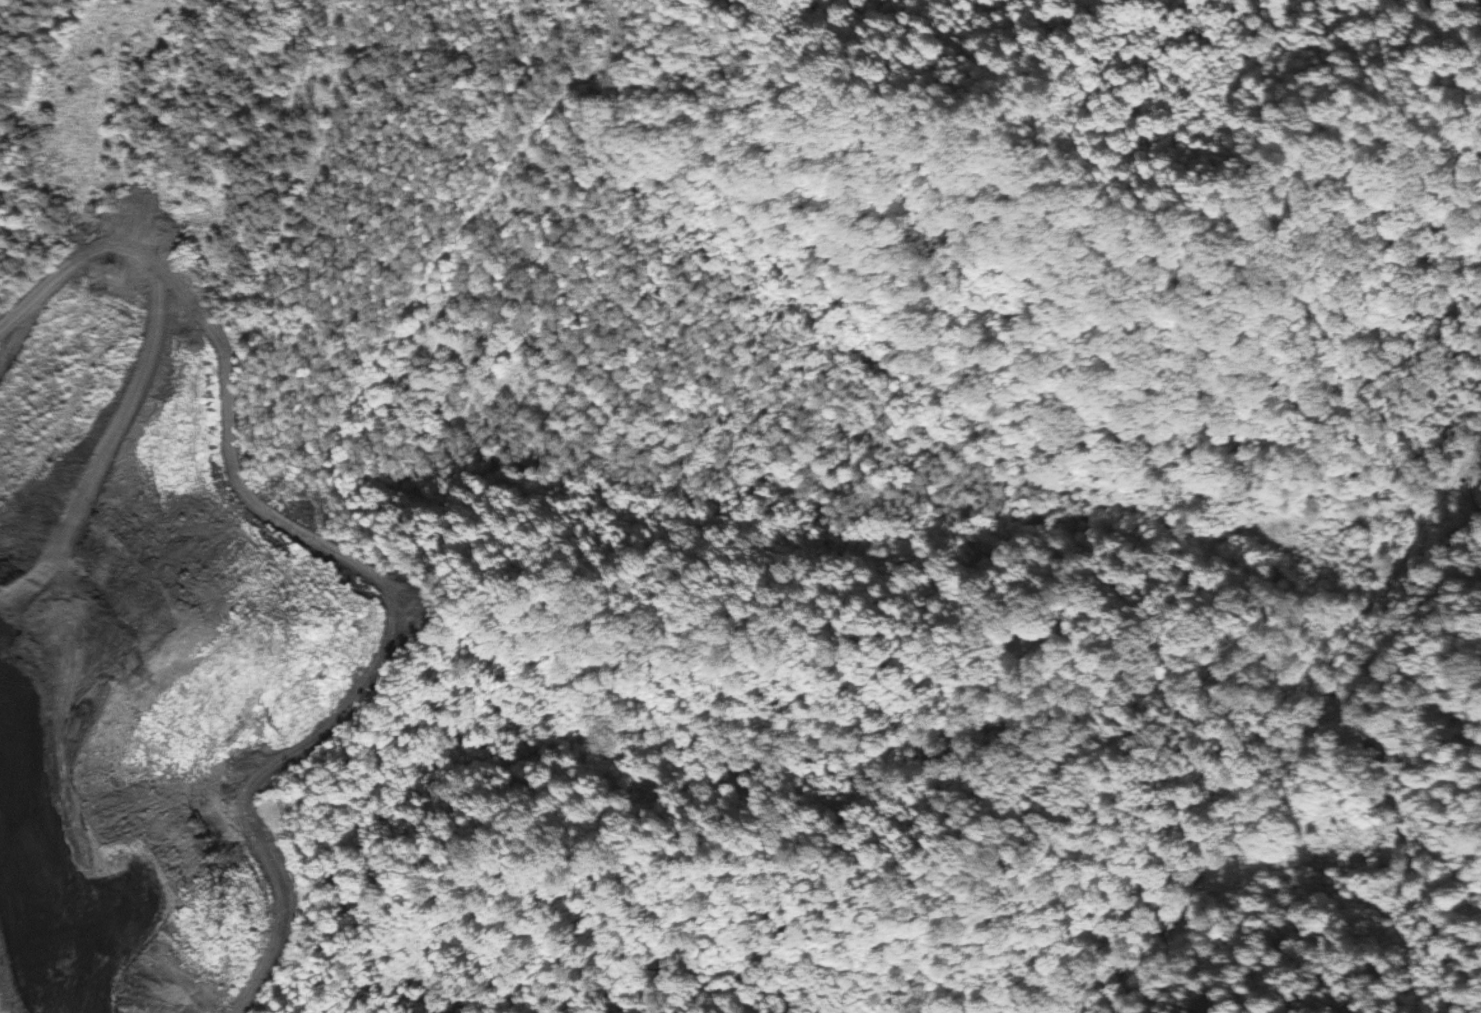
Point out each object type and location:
road: (1398, 473)
road: (1336, 611)
quarry: (150, 638)

